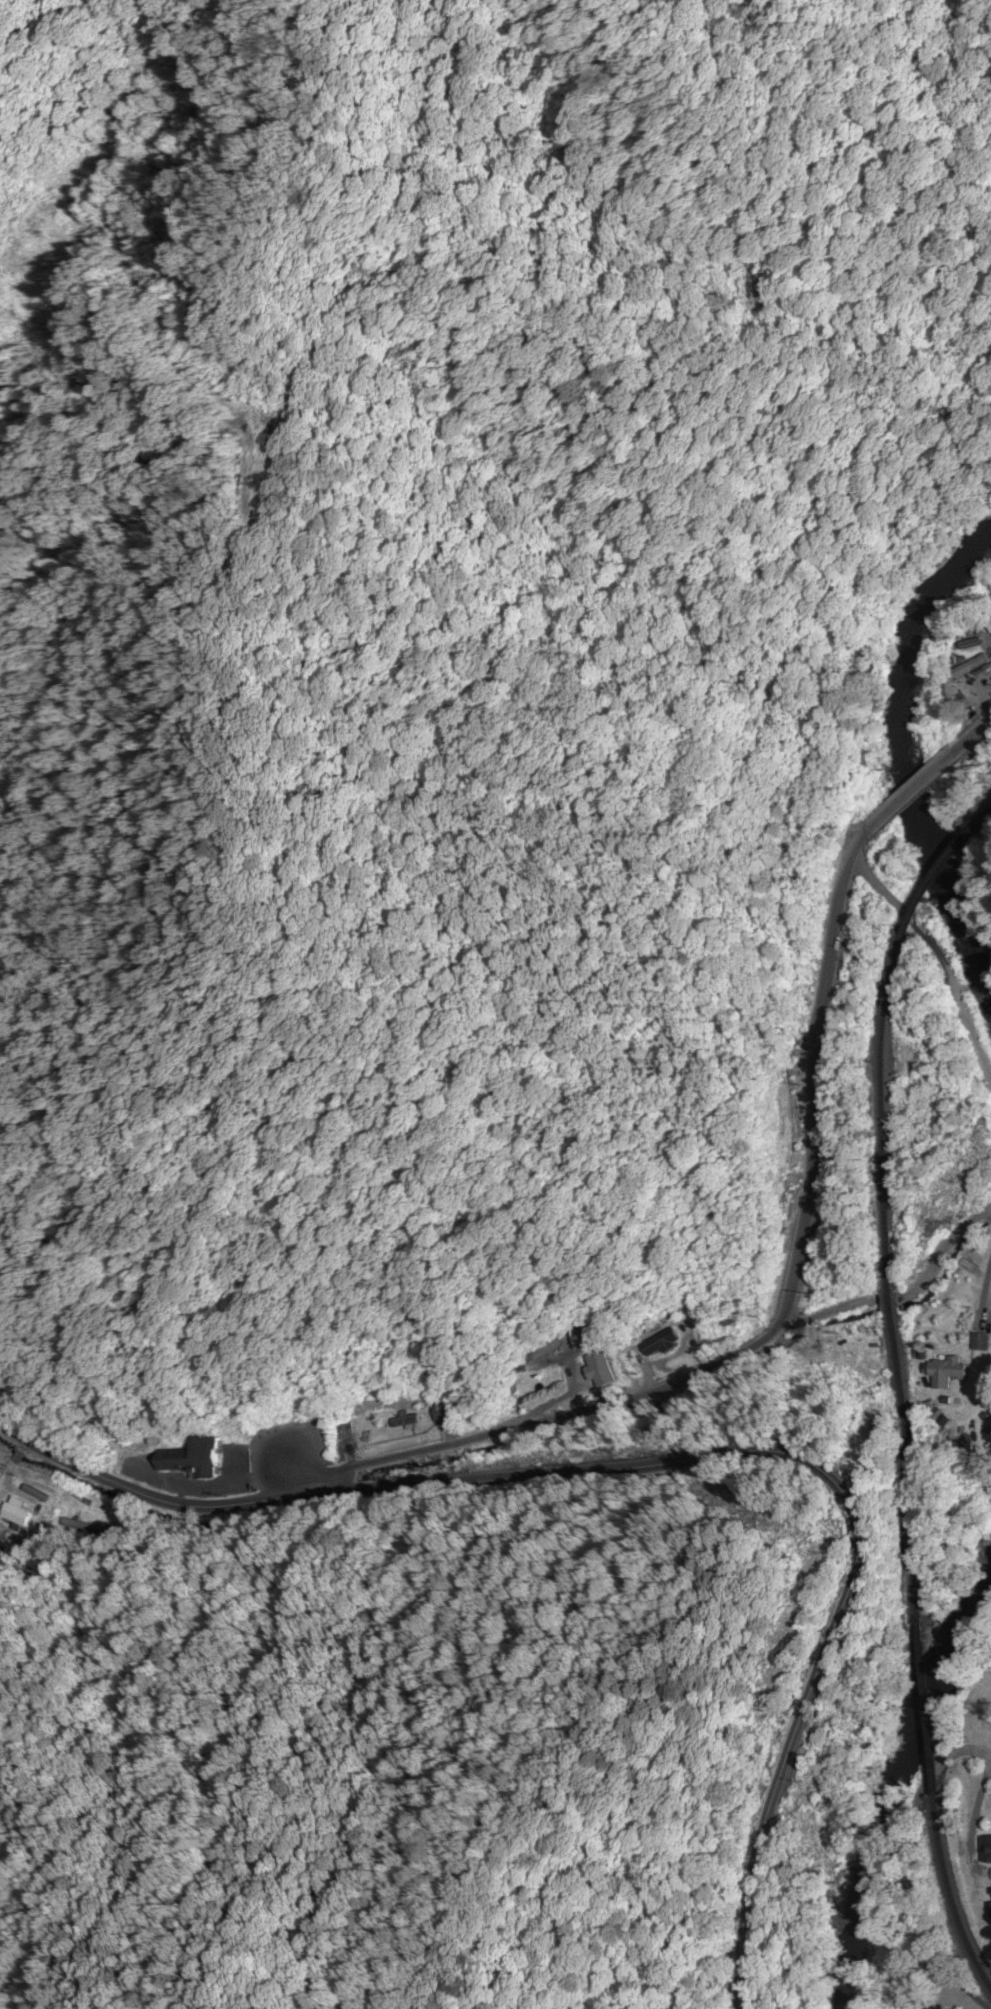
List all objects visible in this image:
road: (983, 722)
river: (900, 767)
road: (919, 778)
railway: (983, 811)
railway: (931, 873)
railway: (887, 1273)
road: (780, 1315)
building: (586, 1339)
building: (977, 1342)
building: (660, 1346)
building: (859, 1366)
building: (604, 1371)
building: (944, 1372)
building: (442, 1407)
building: (364, 1423)
building: (189, 1458)
road: (687, 1460)
building: (17, 1518)
railway: (923, 1706)
river: (885, 1777)
building: (986, 1850)
railway: (949, 1895)

